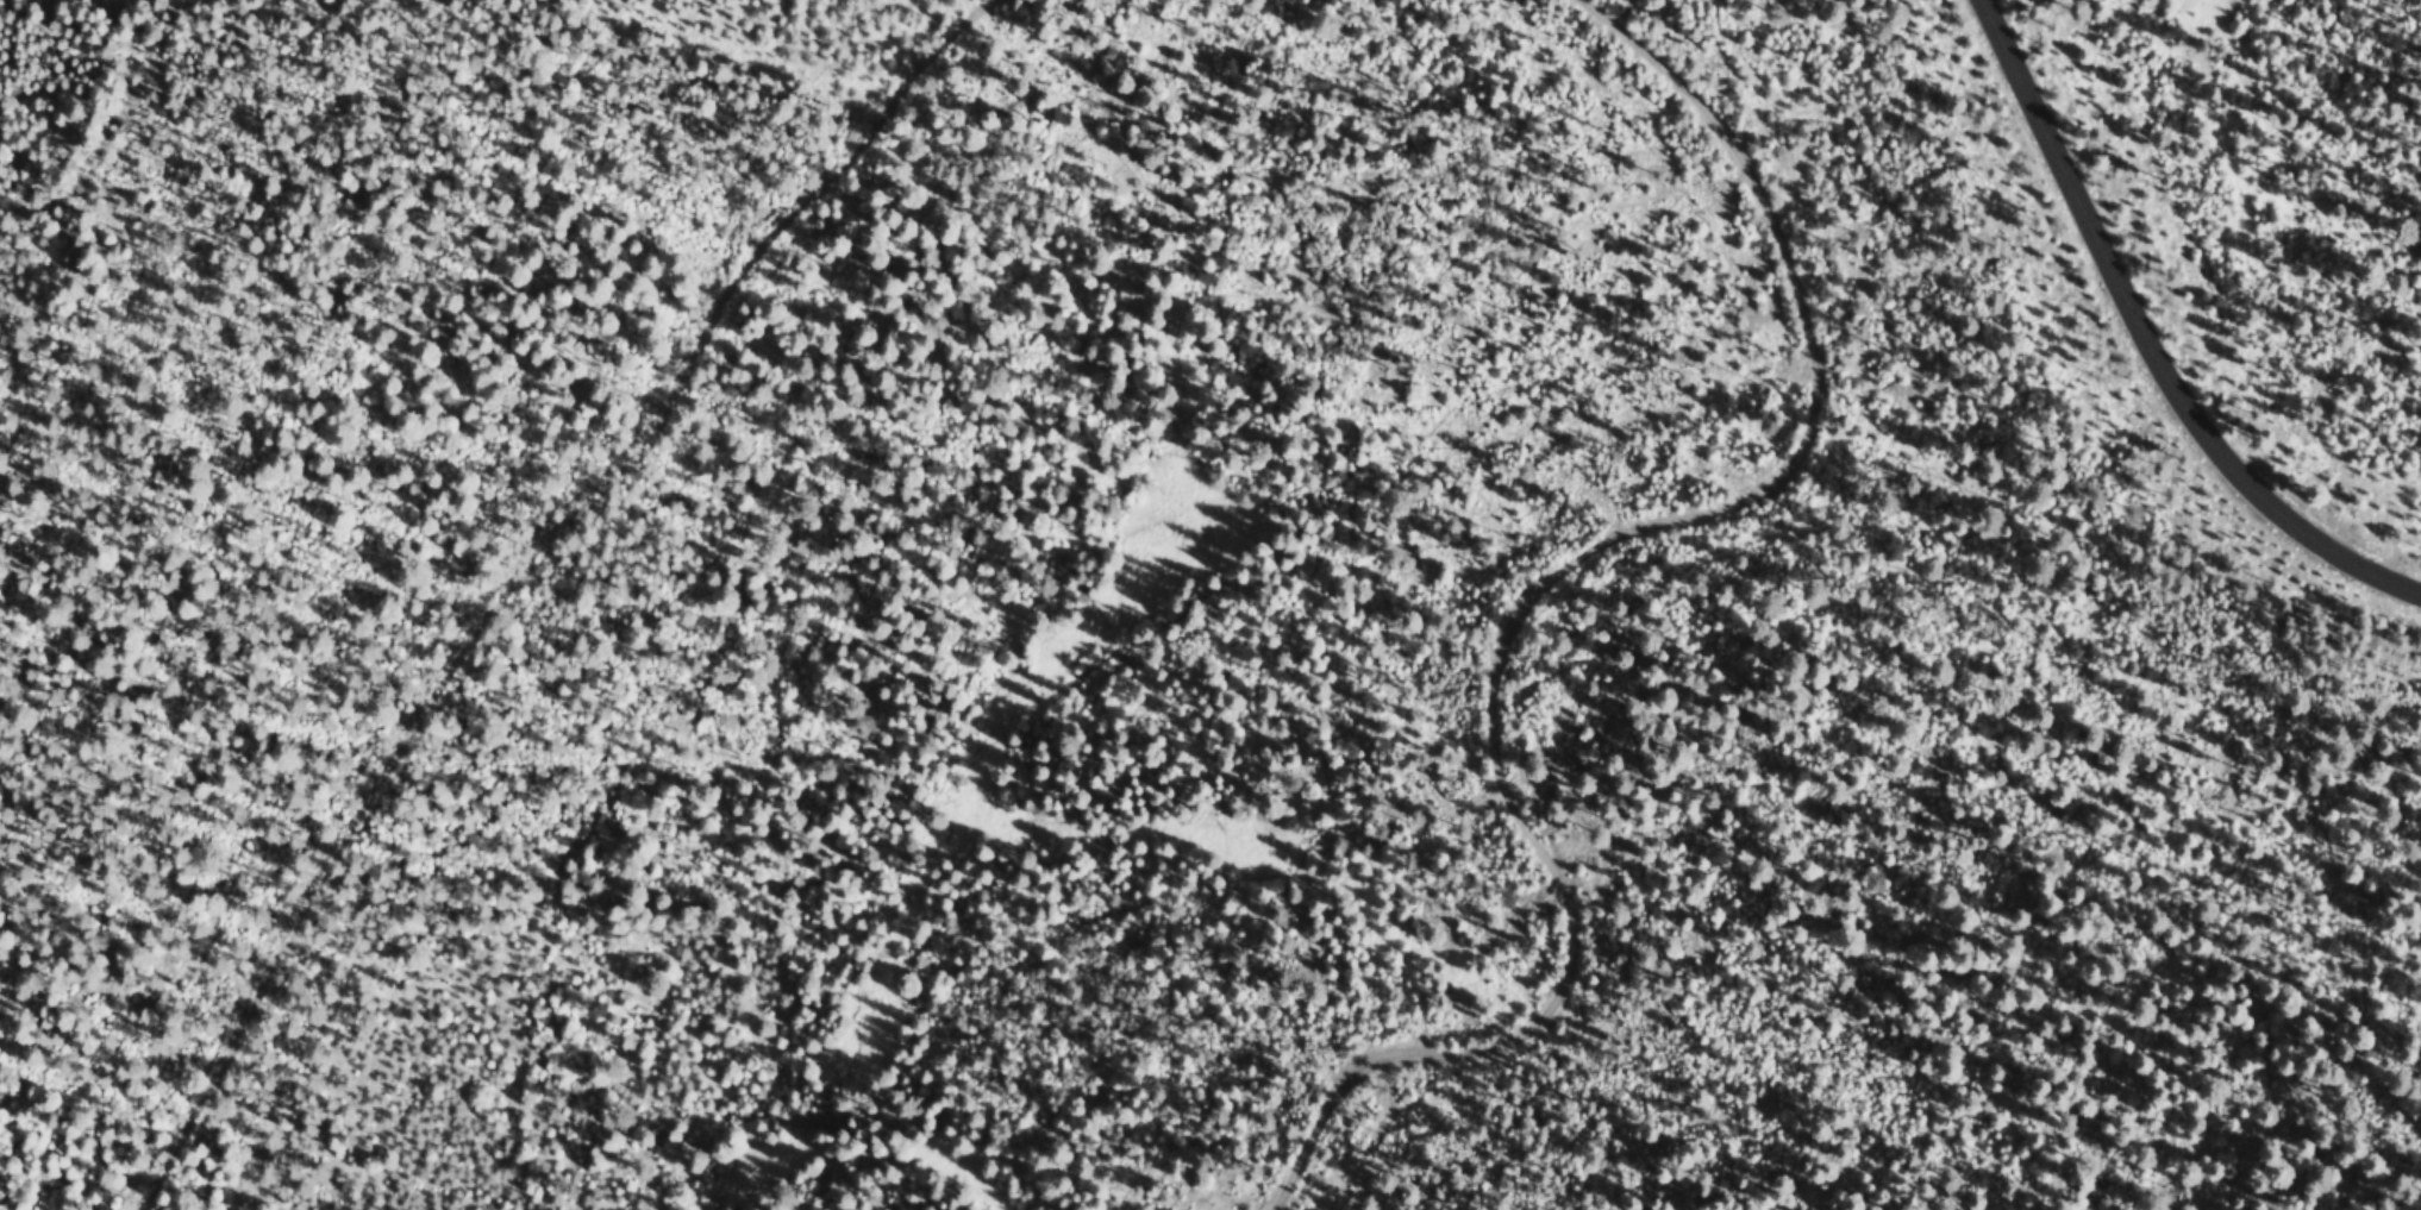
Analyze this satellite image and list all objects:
road: (2145, 345)

